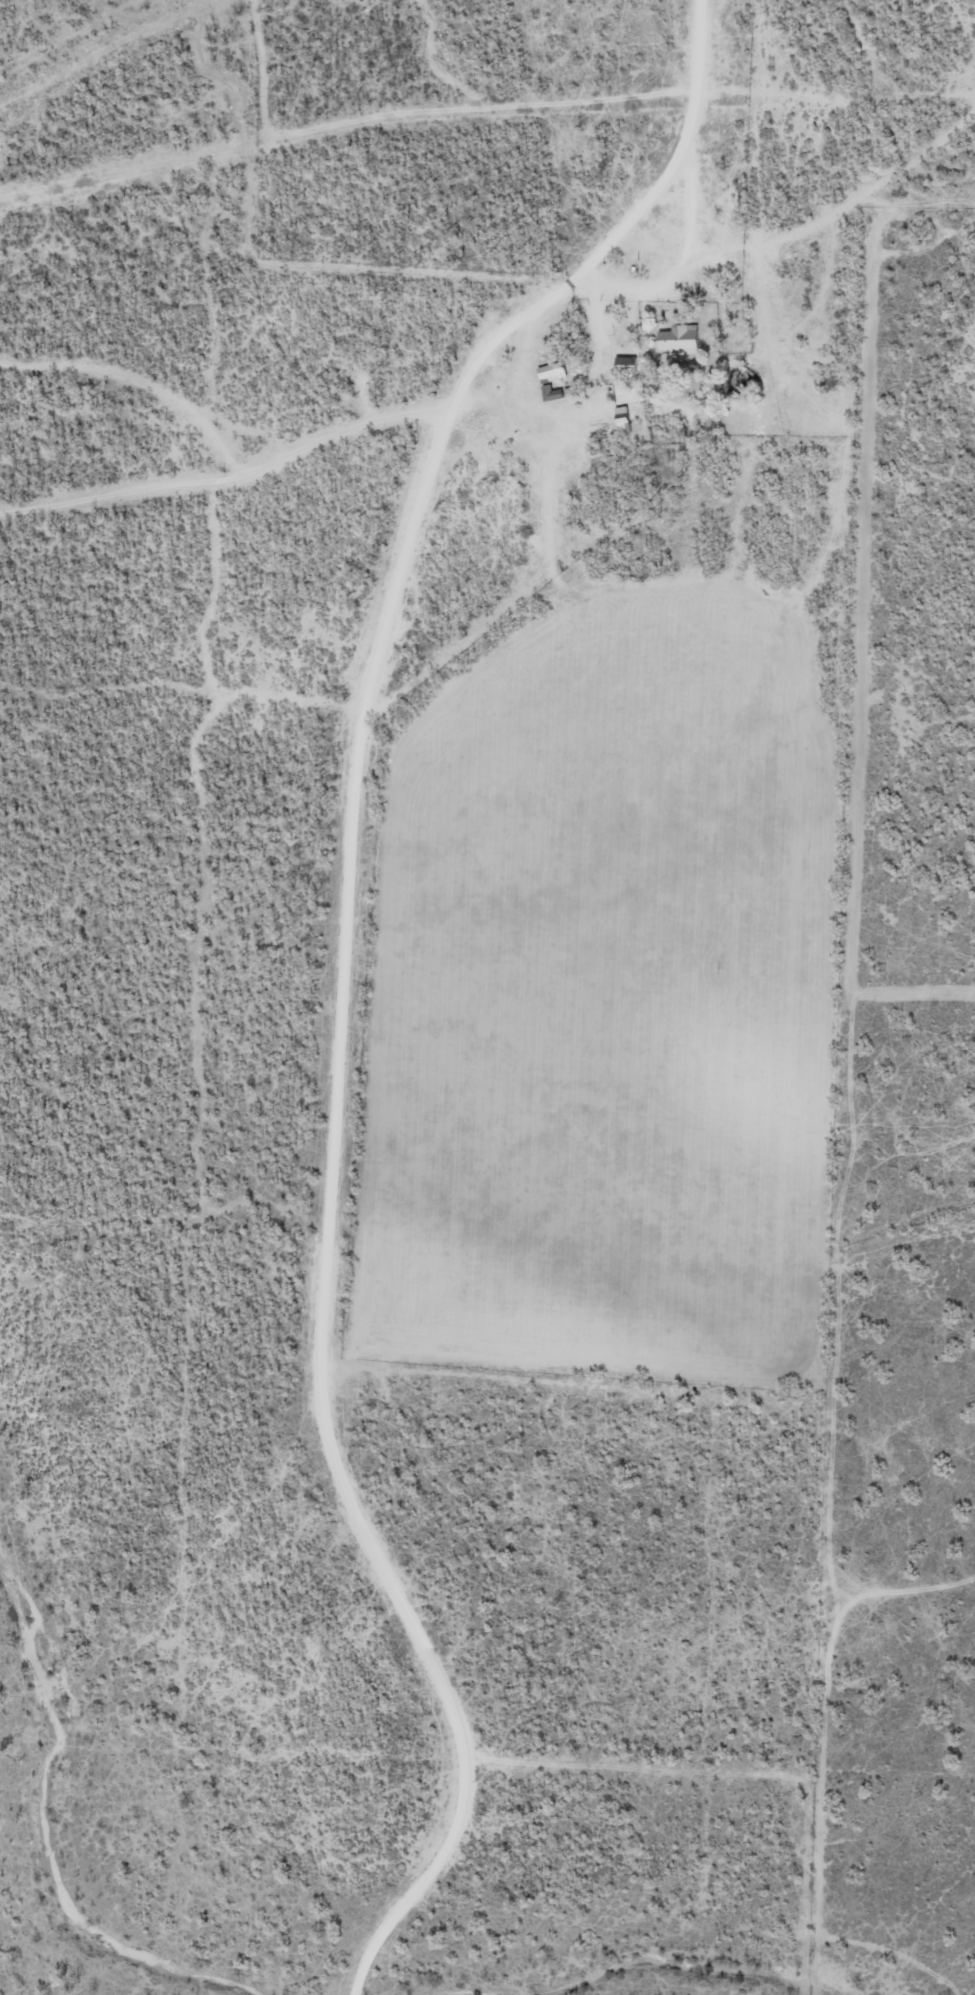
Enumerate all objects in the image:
building: (679, 340)
building: (624, 365)
building: (550, 372)
building: (558, 392)
road: (215, 501)
road: (325, 955)

